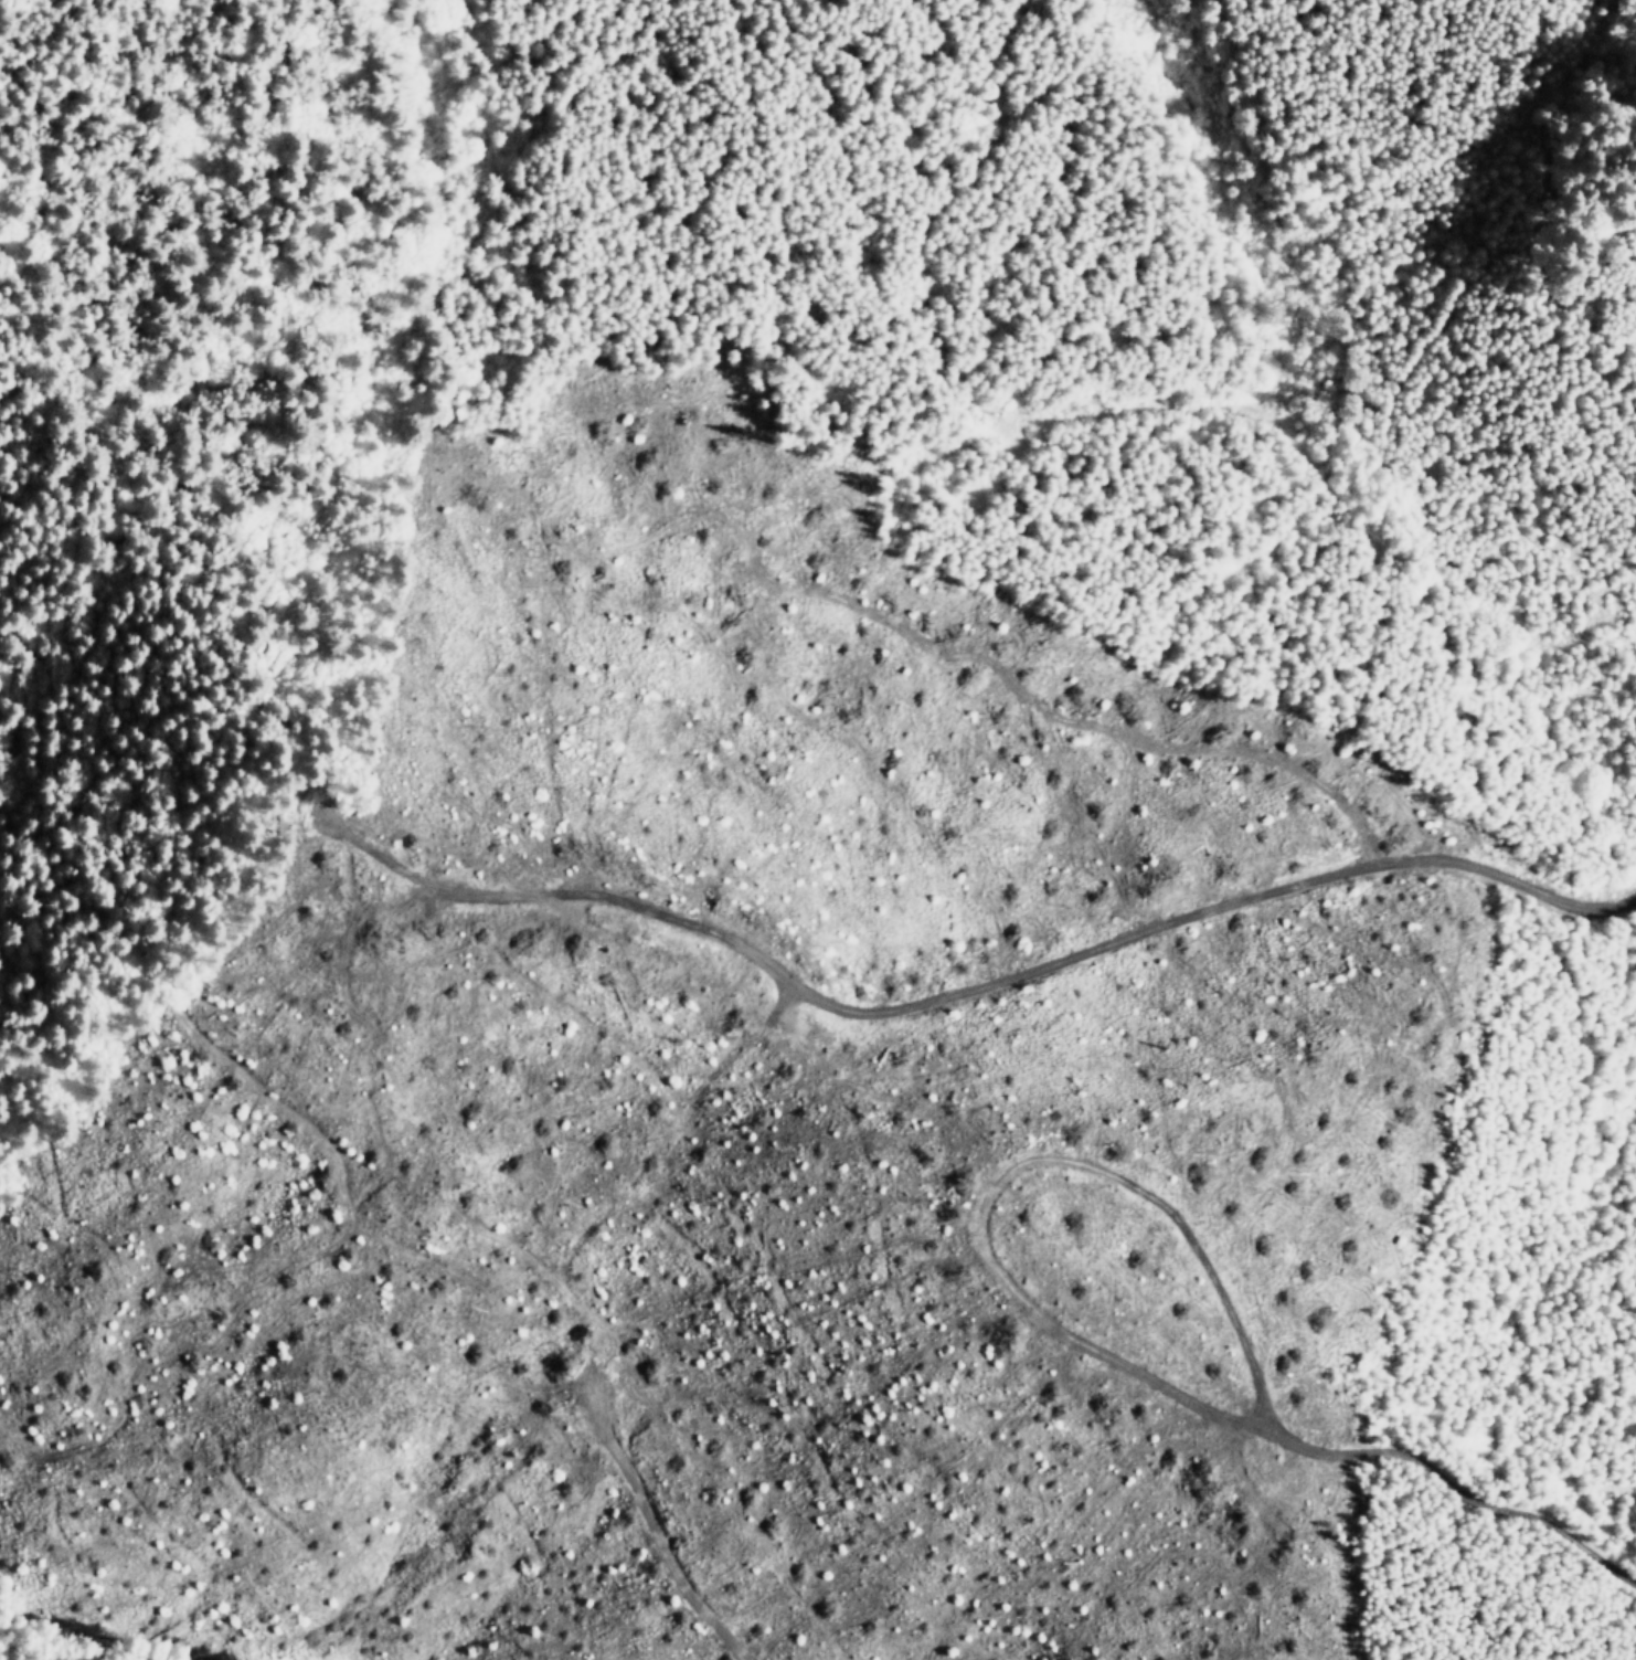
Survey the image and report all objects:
road: (1063, 181)
road: (1235, 1332)
road: (702, 1565)

